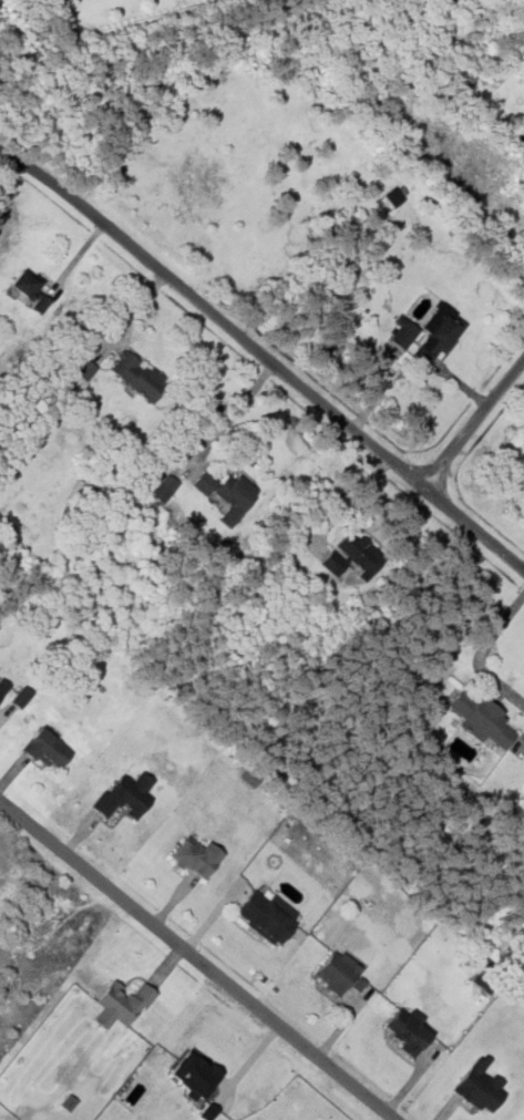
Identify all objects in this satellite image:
road: (265, 358)
road: (471, 419)
road: (352, 500)
building: (19, 697)
building: (481, 721)
building: (42, 749)
building: (121, 795)
building: (194, 857)
building: (265, 914)
road: (194, 959)
building: (338, 972)
building: (119, 1004)
building: (403, 1030)
building: (479, 1086)

